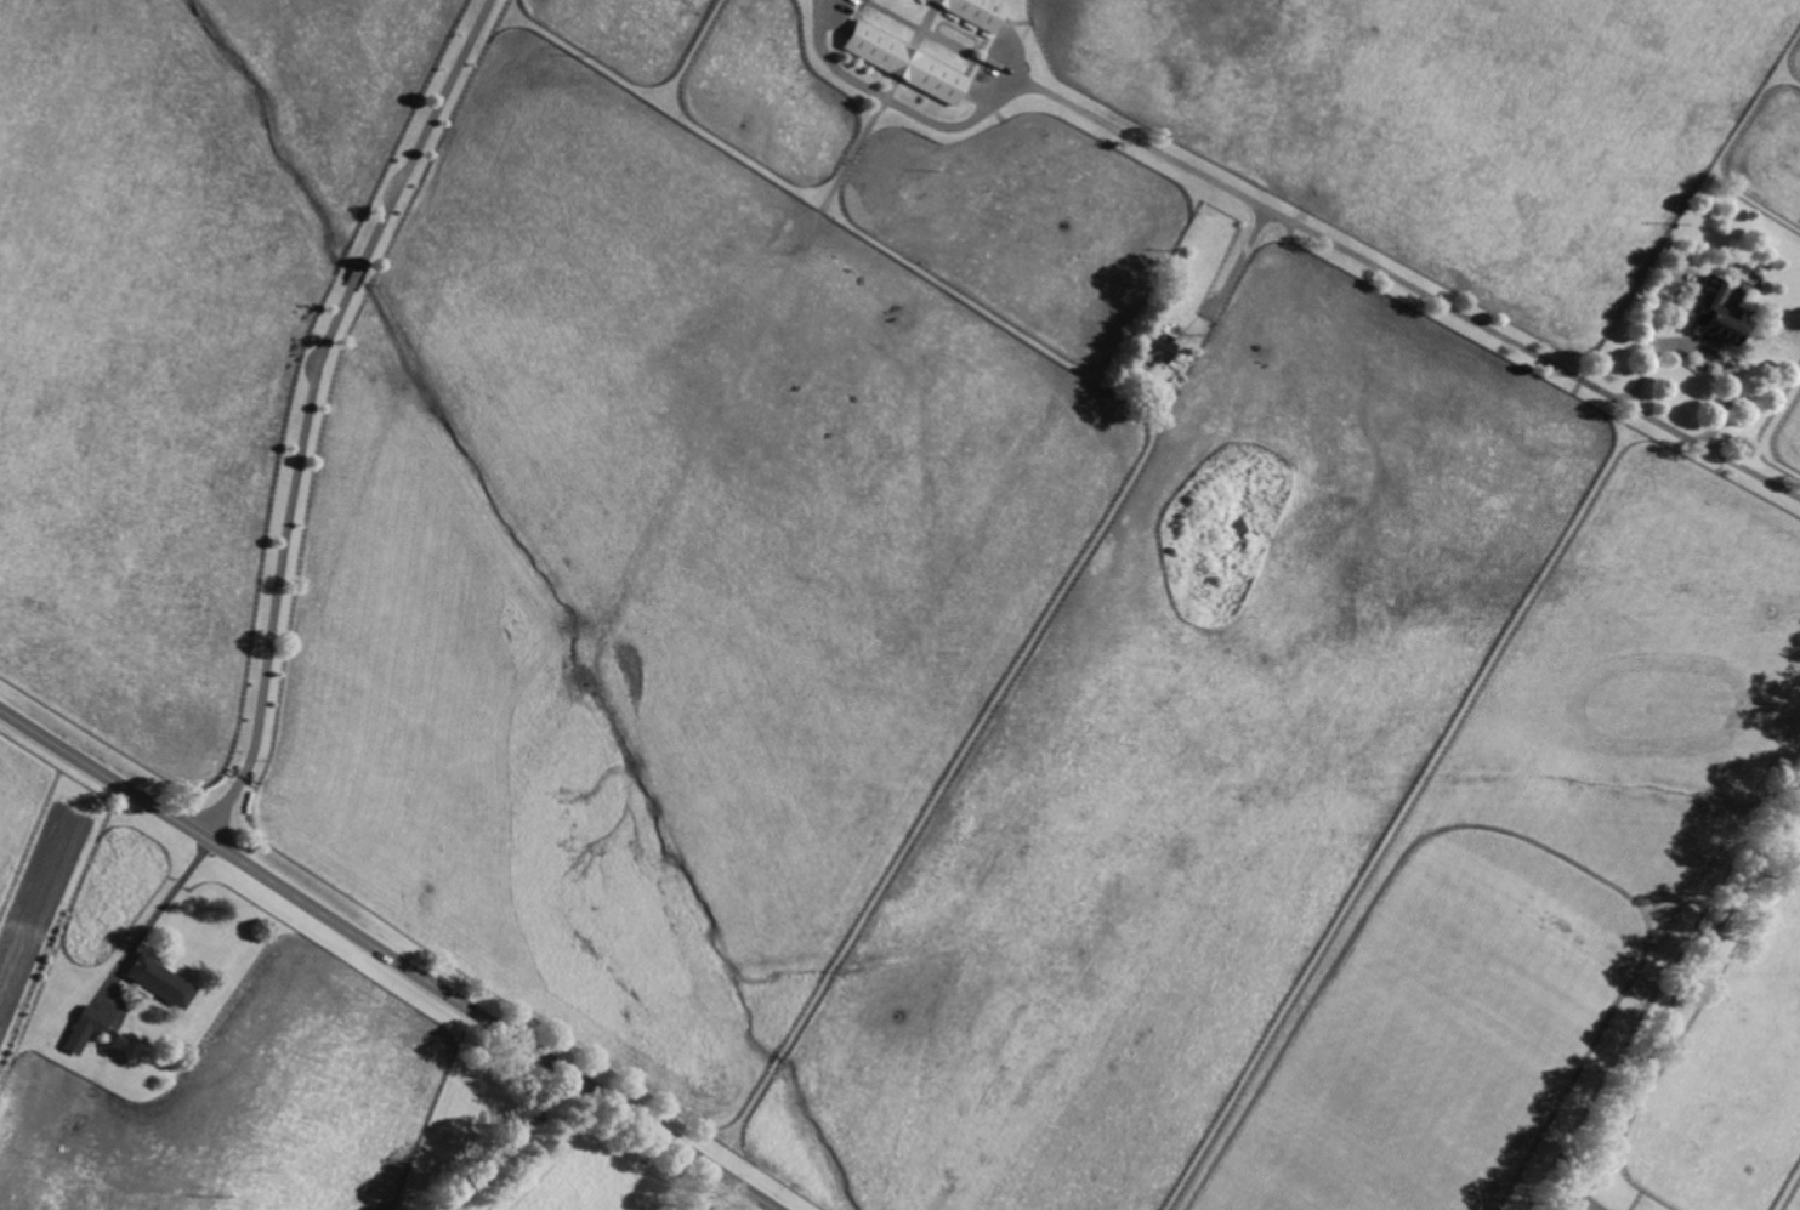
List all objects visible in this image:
building: (976, 11)
building: (905, 64)
road: (1287, 222)
road: (1239, 262)
building: (1716, 312)
building: (1160, 347)
road: (1709, 364)
road: (305, 405)
road: (166, 901)
road: (390, 958)
building: (160, 981)
road: (1679, 1005)
building: (86, 1029)
road: (504, 1142)
road: (1585, 1200)

